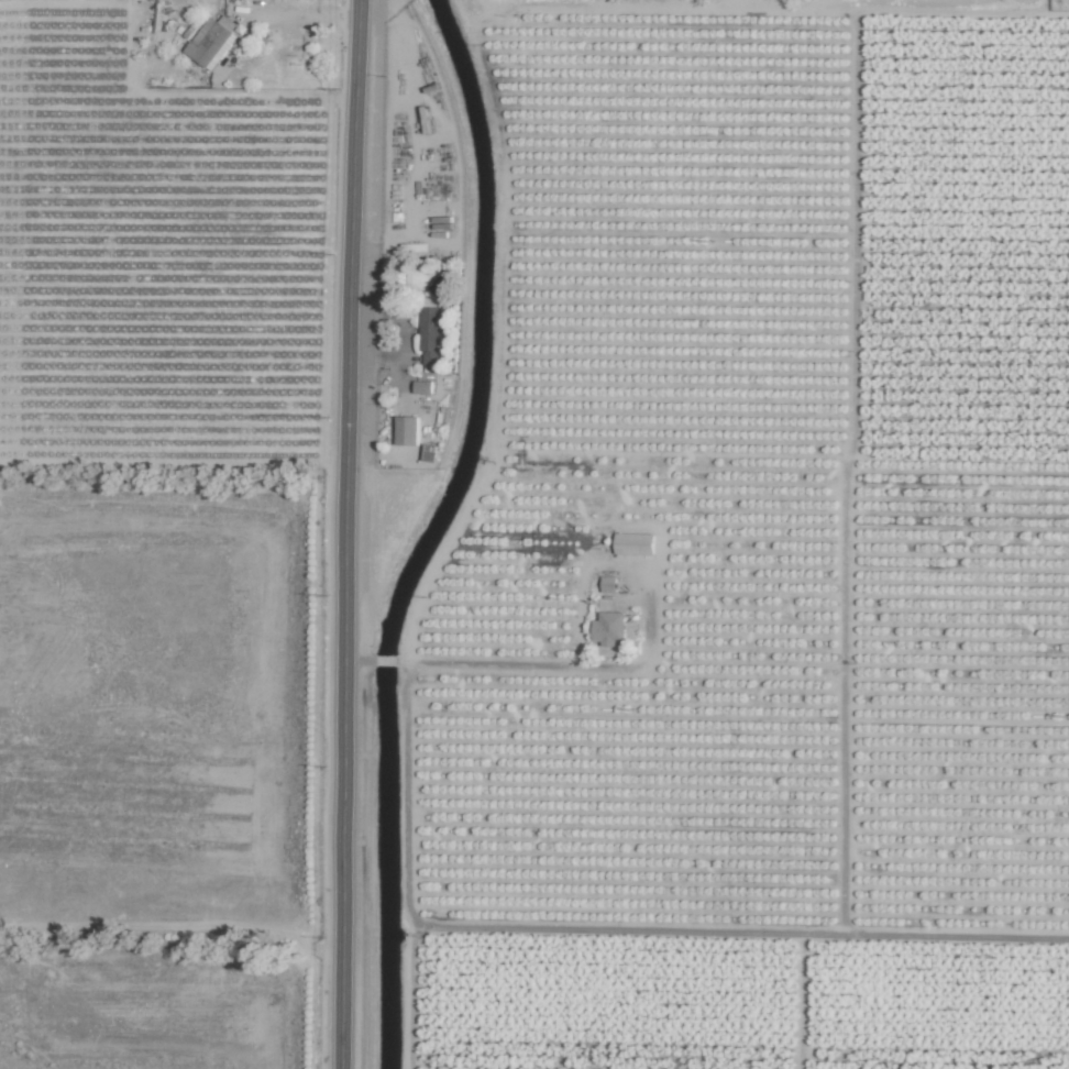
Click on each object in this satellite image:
building: (212, 41)
road: (238, 53)
building: (432, 331)
building: (422, 386)
building: (406, 430)
building: (430, 452)
road: (346, 533)
building: (633, 543)
building: (608, 584)
building: (608, 628)
road: (359, 661)
road: (385, 662)
road: (565, 669)
road: (611, 929)

